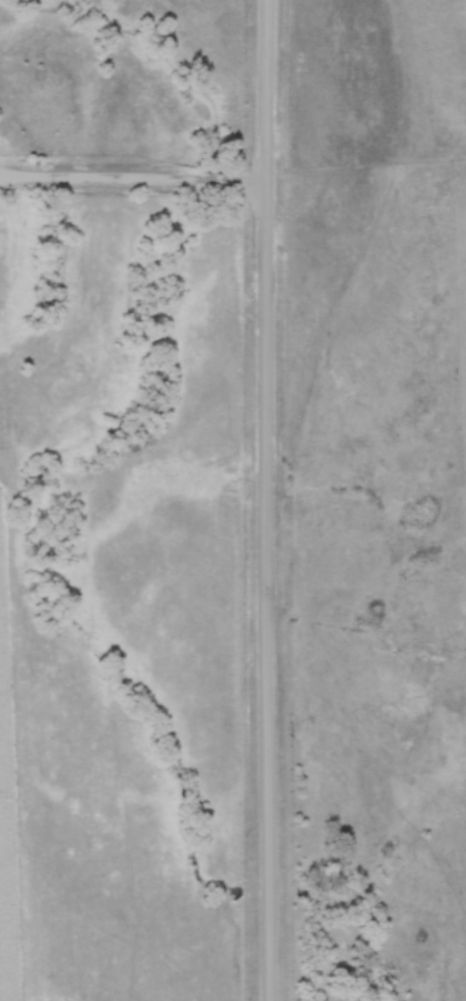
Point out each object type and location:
road: (132, 178)
road: (265, 500)
crop: (5, 820)

